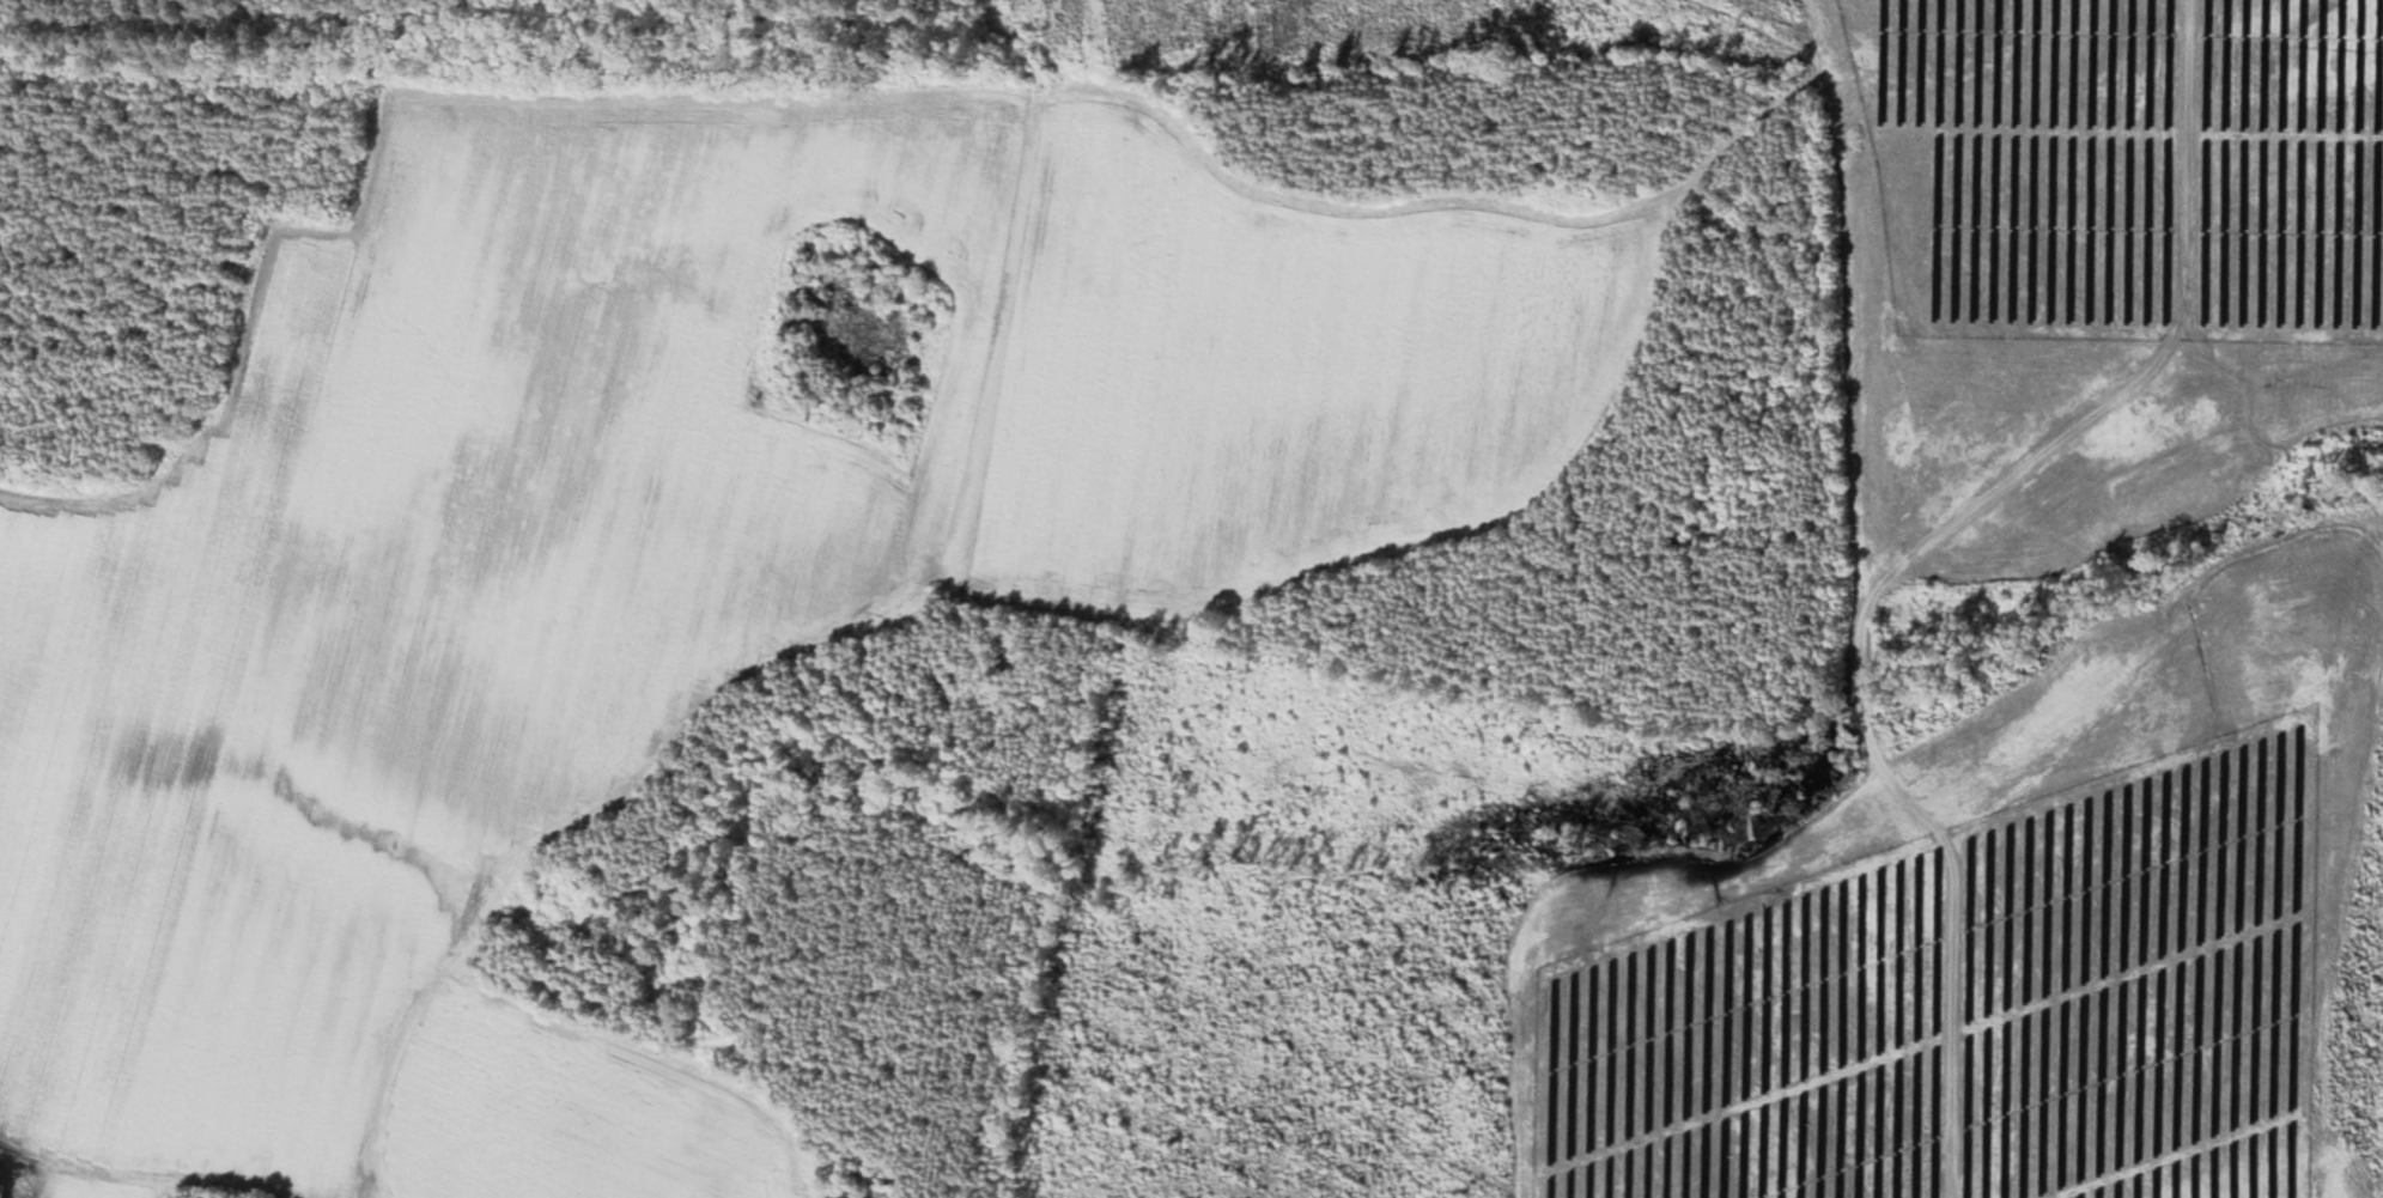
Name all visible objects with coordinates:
road: (146, 1148)

